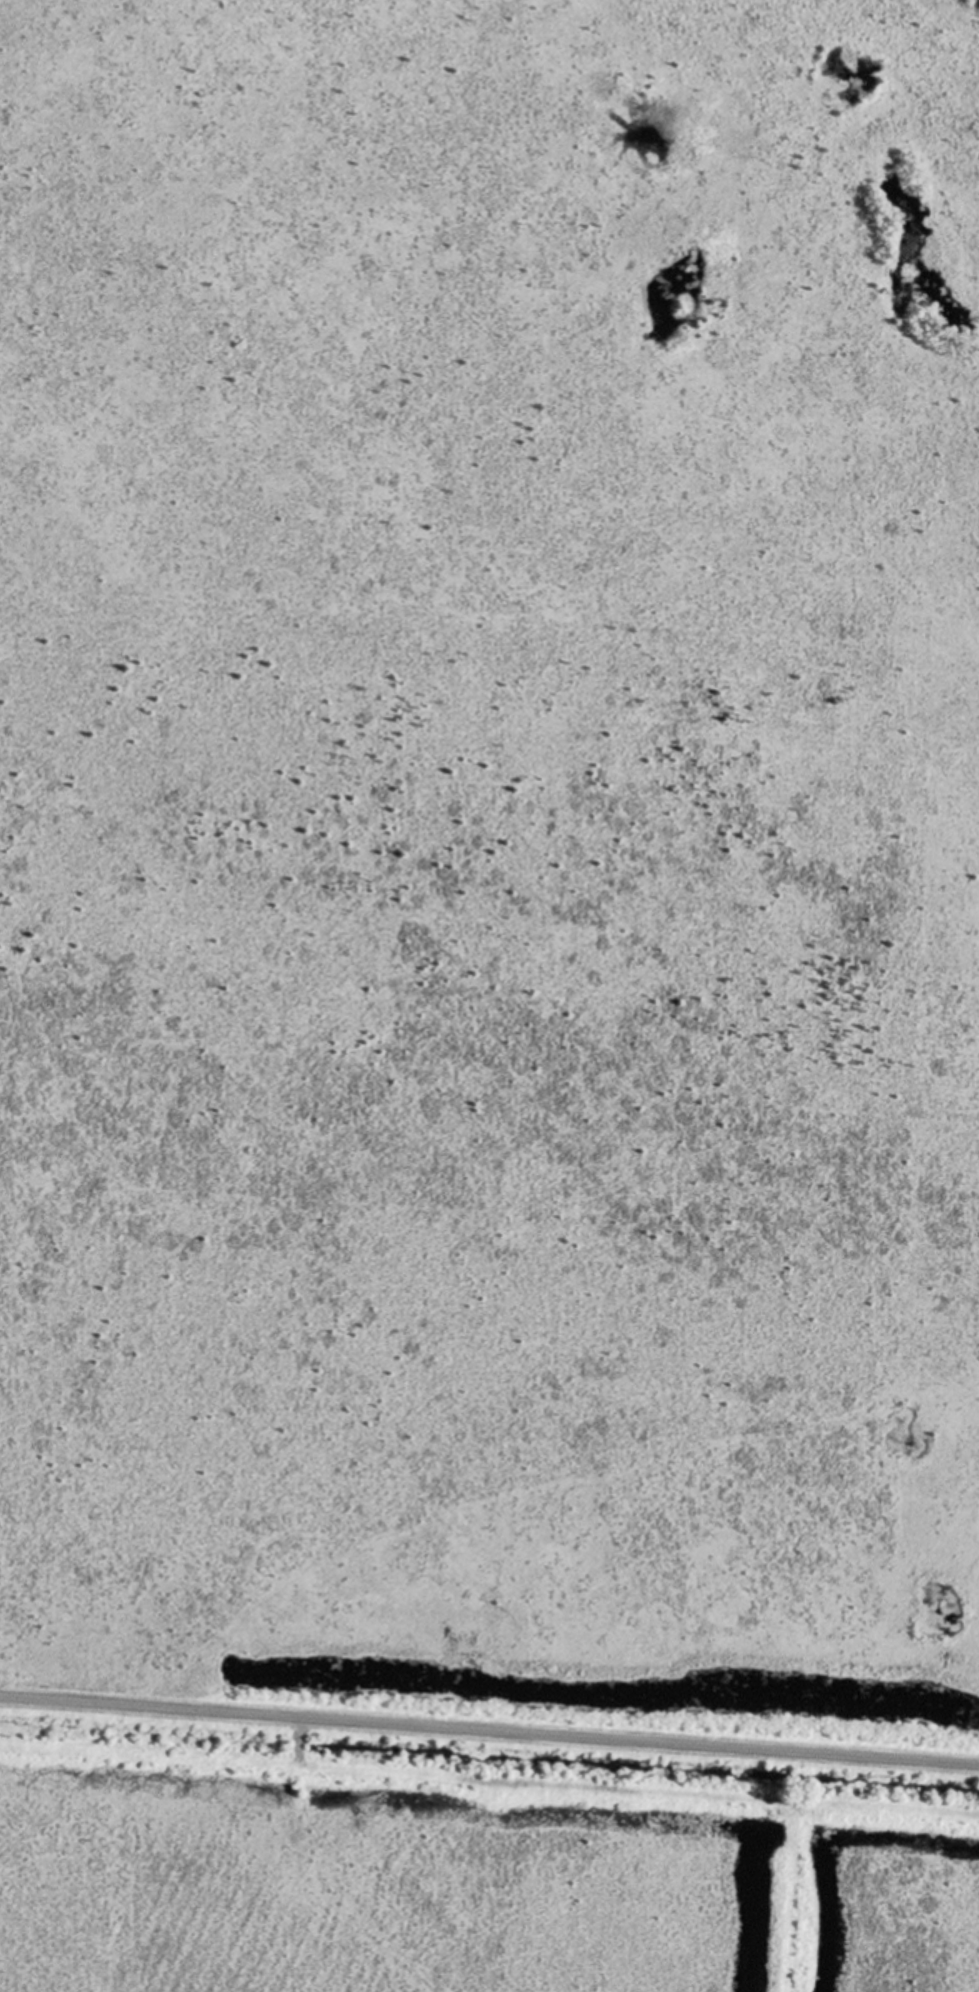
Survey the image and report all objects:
road: (489, 1735)

